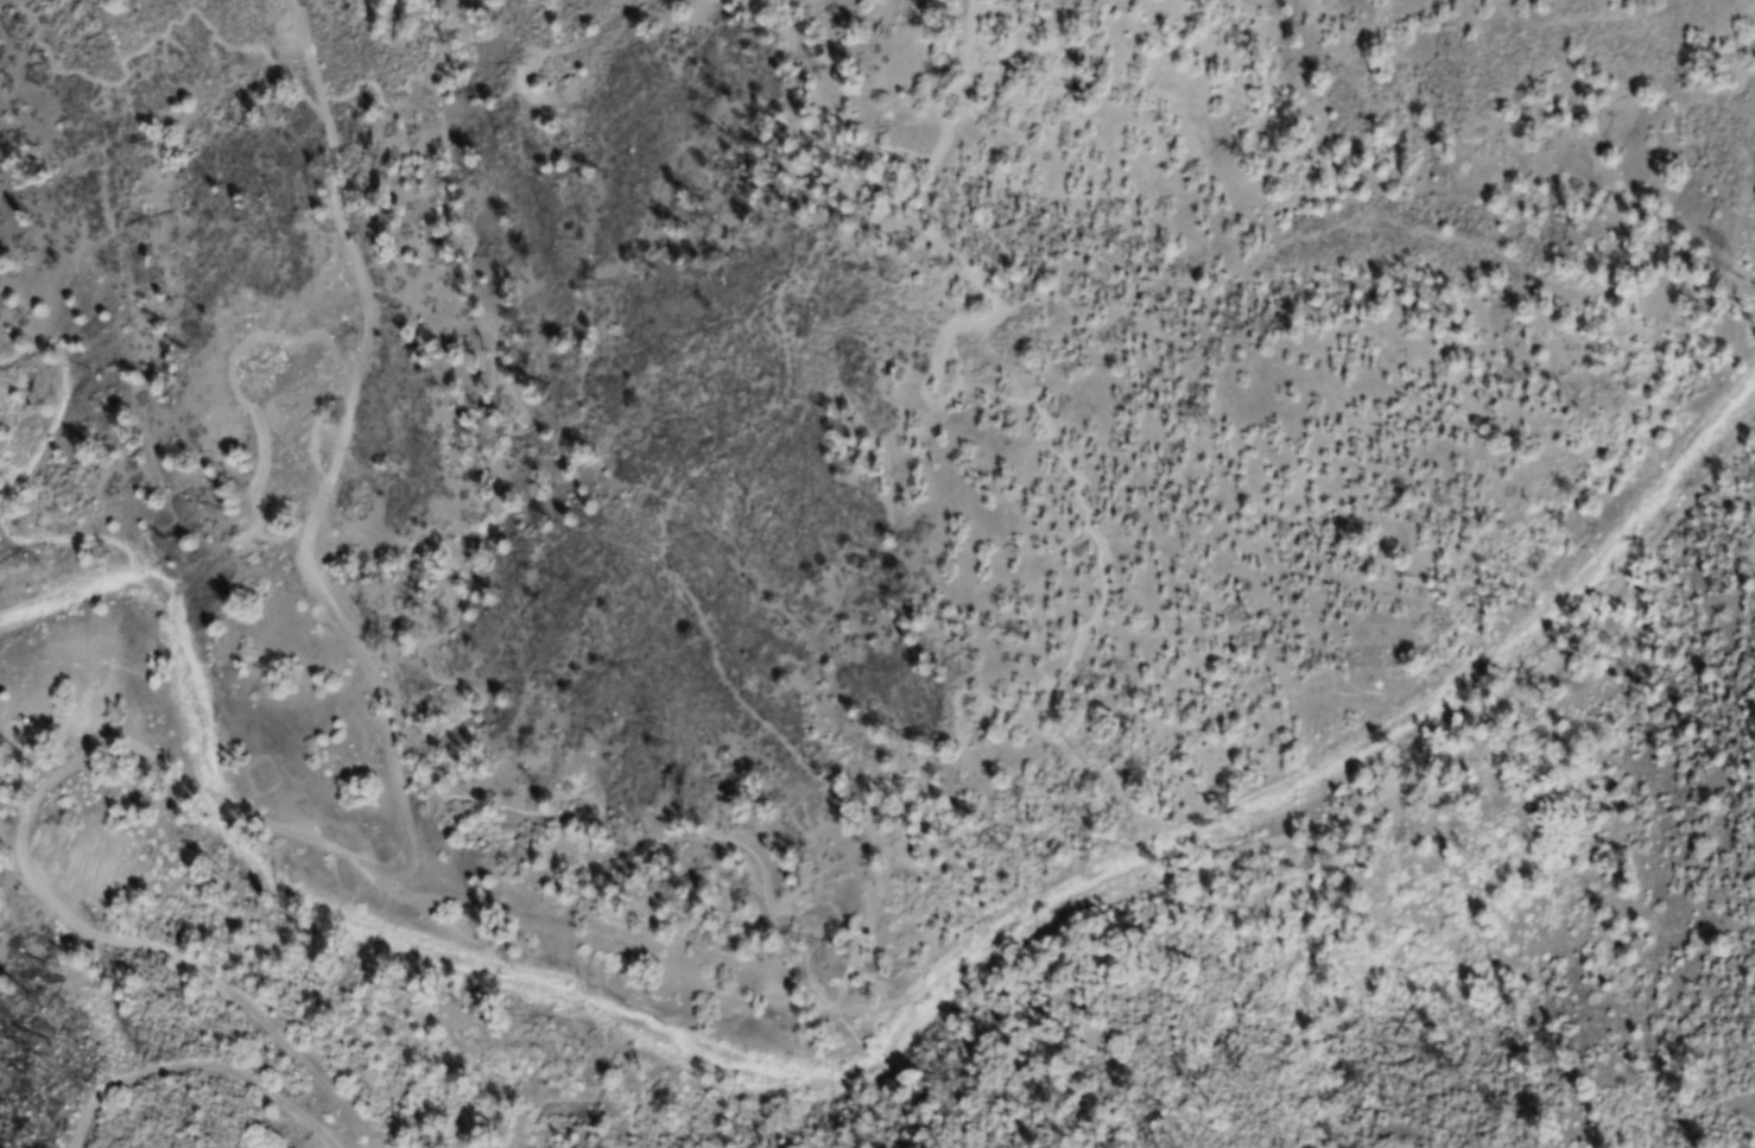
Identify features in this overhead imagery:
road: (1282, 867)
road: (286, 968)

